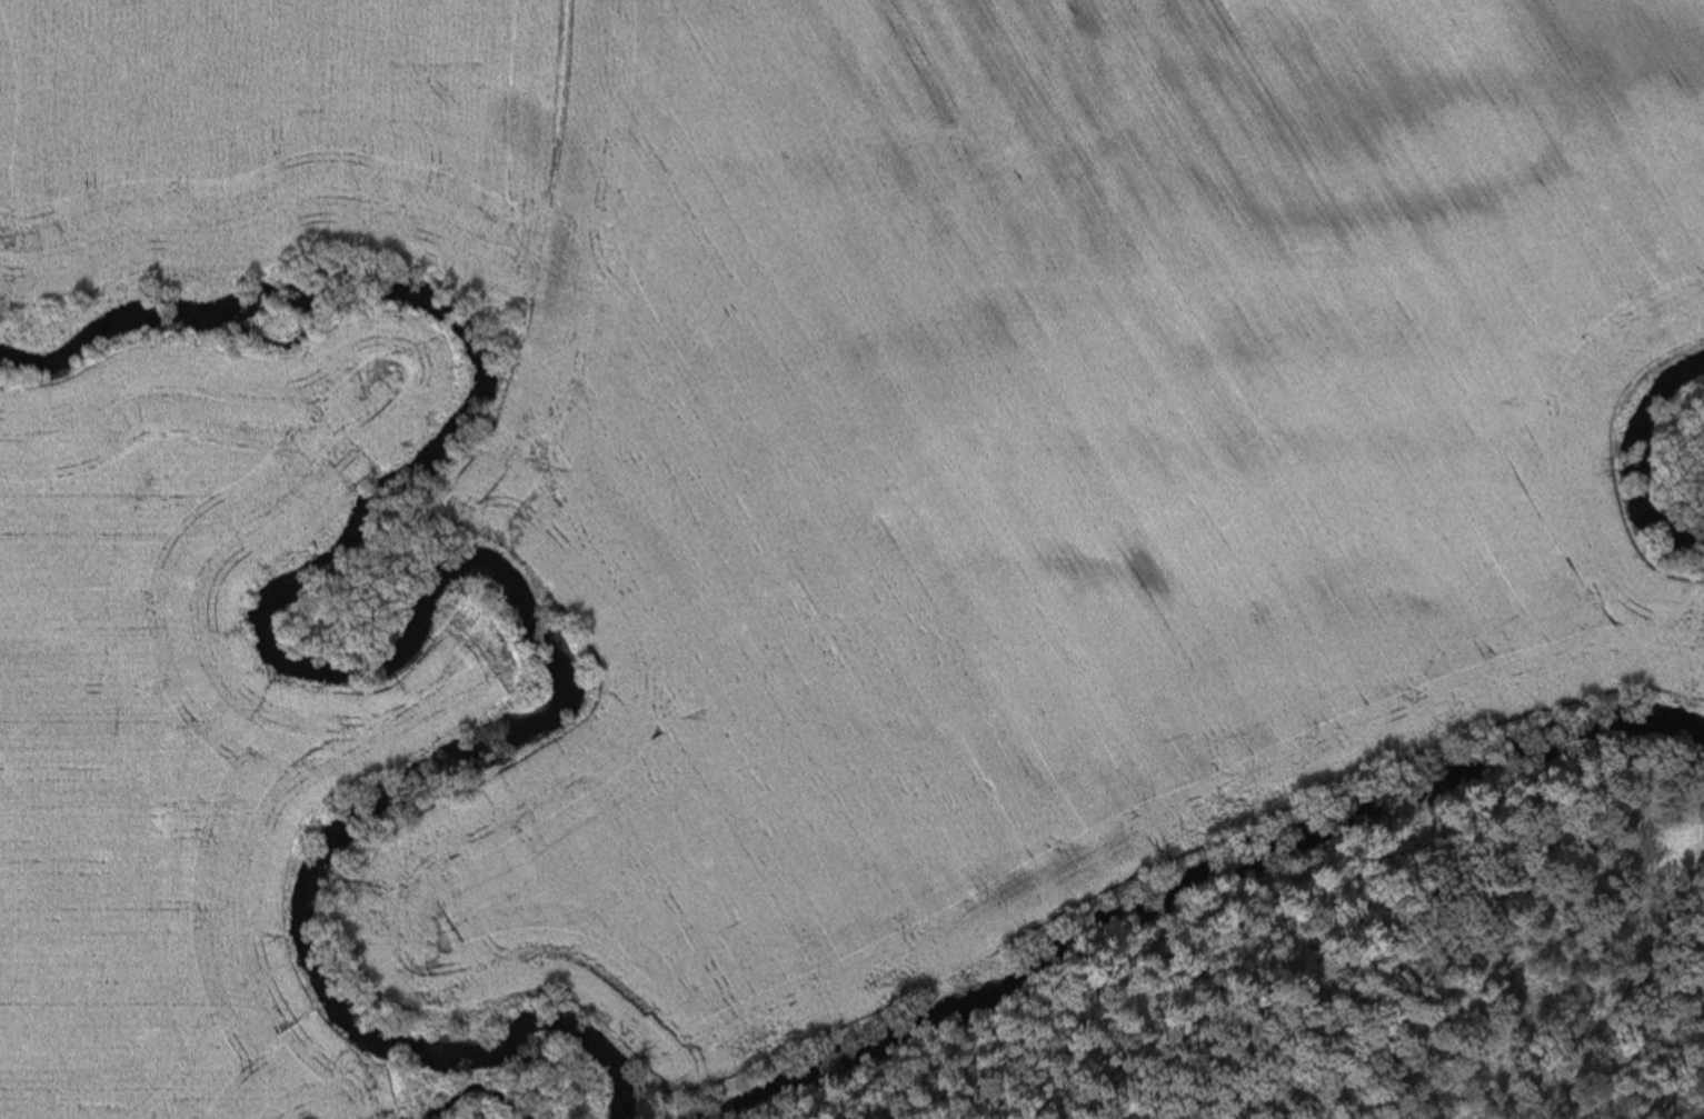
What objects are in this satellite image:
river: (1674, 461)
river: (416, 627)
river: (1184, 886)

